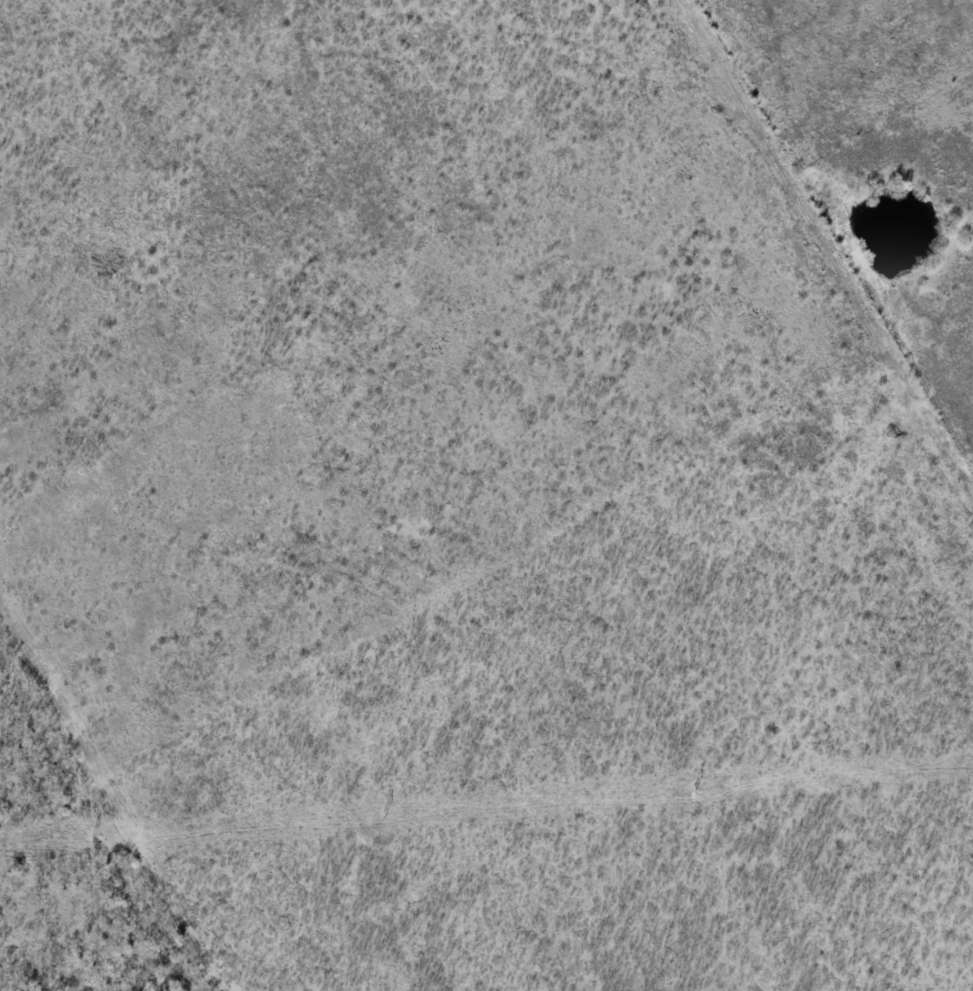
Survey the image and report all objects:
power tower: (695, 789)
power tower: (384, 815)
power tower: (93, 837)

